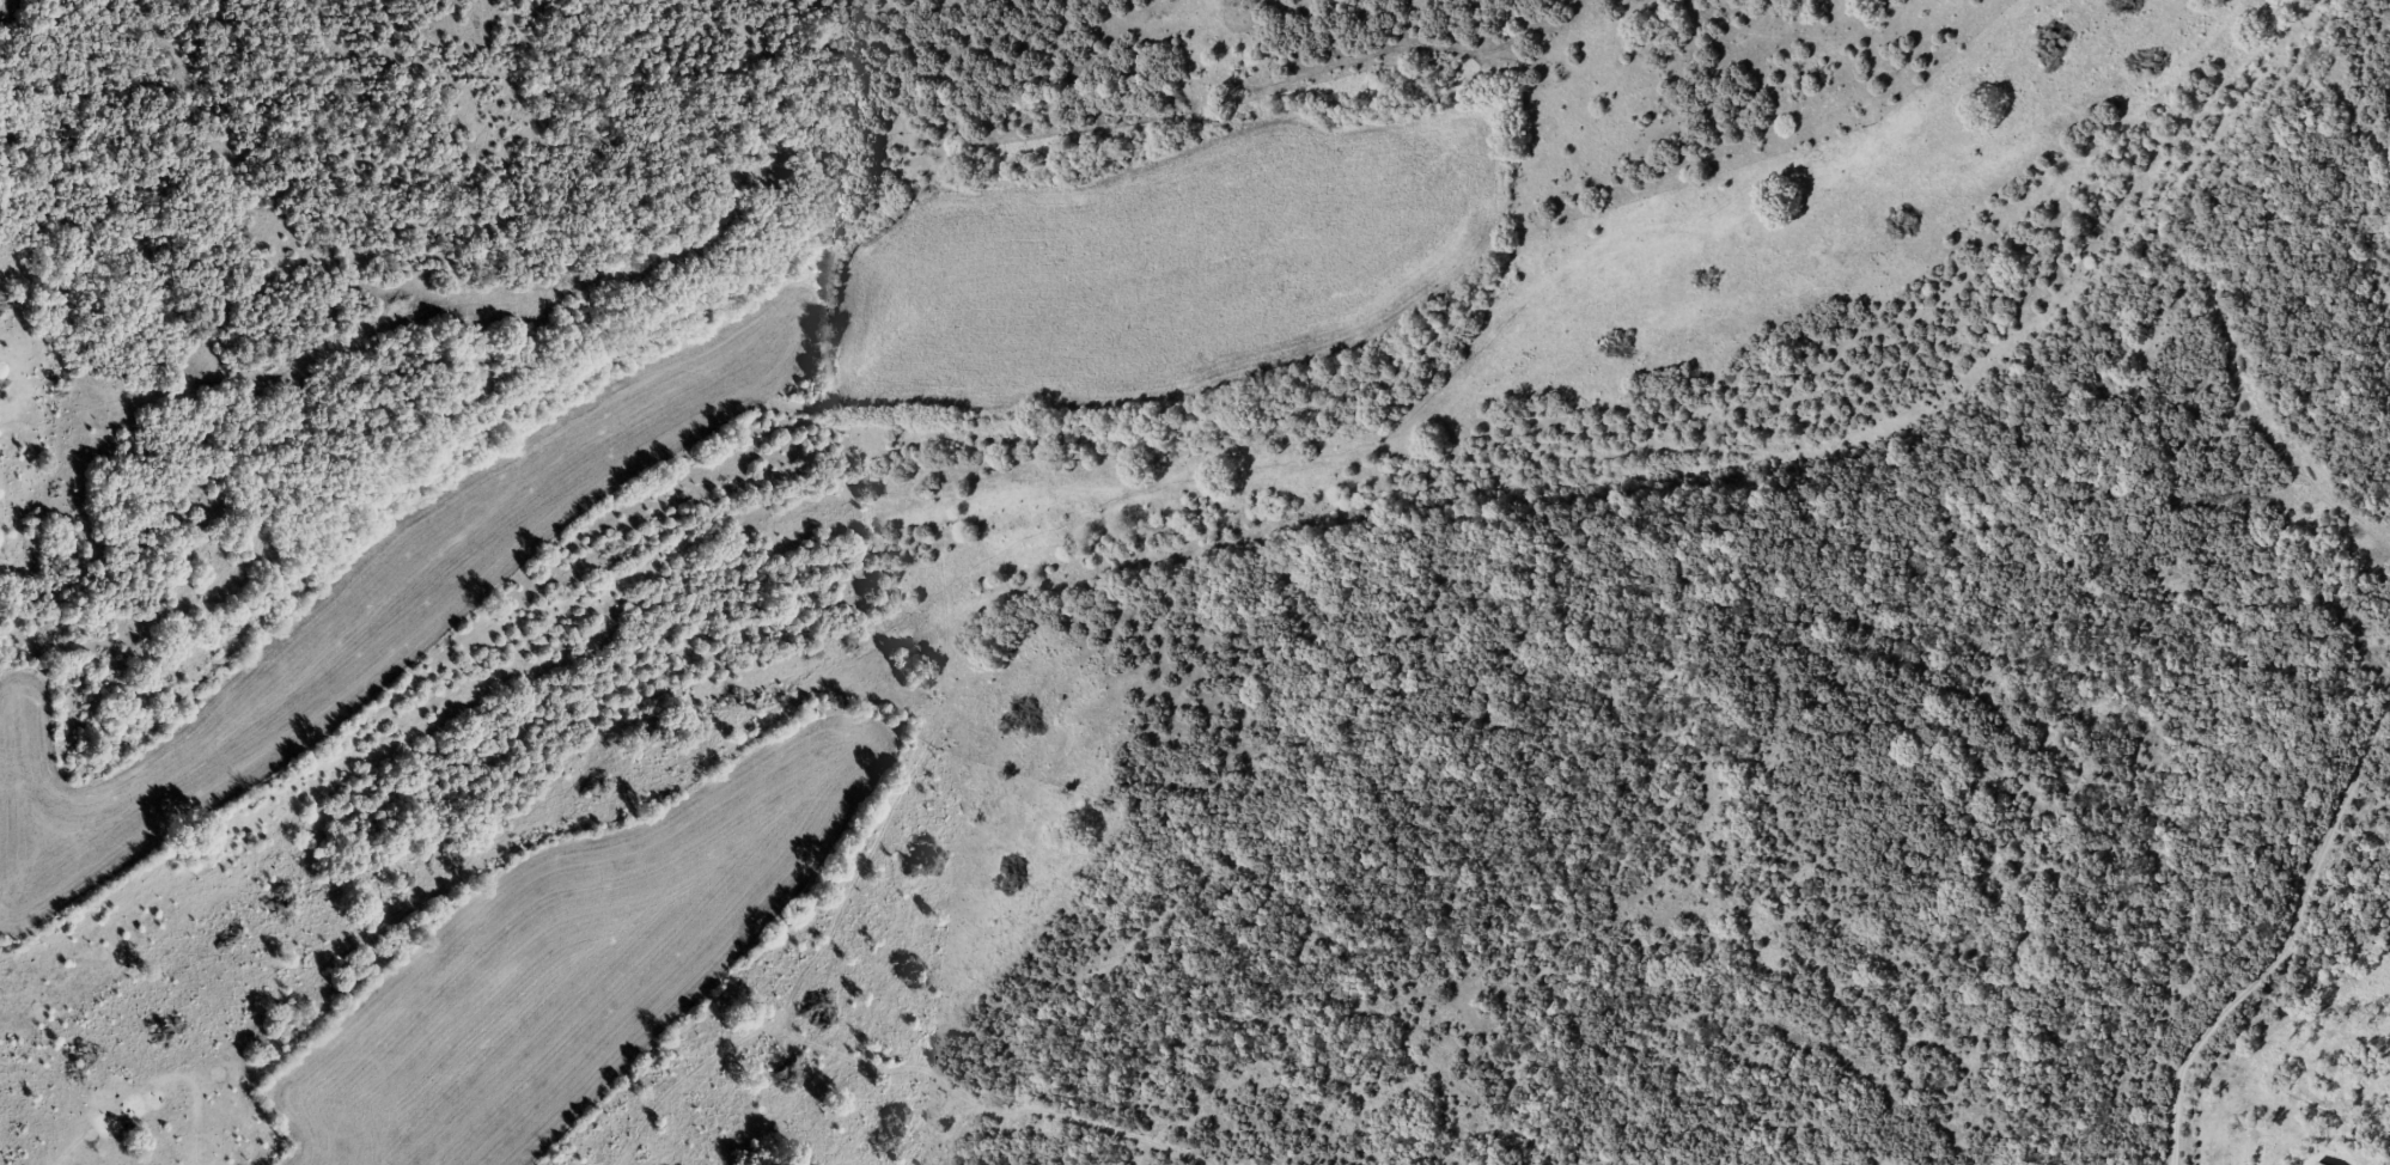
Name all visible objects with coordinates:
building: (2317, 1163)

